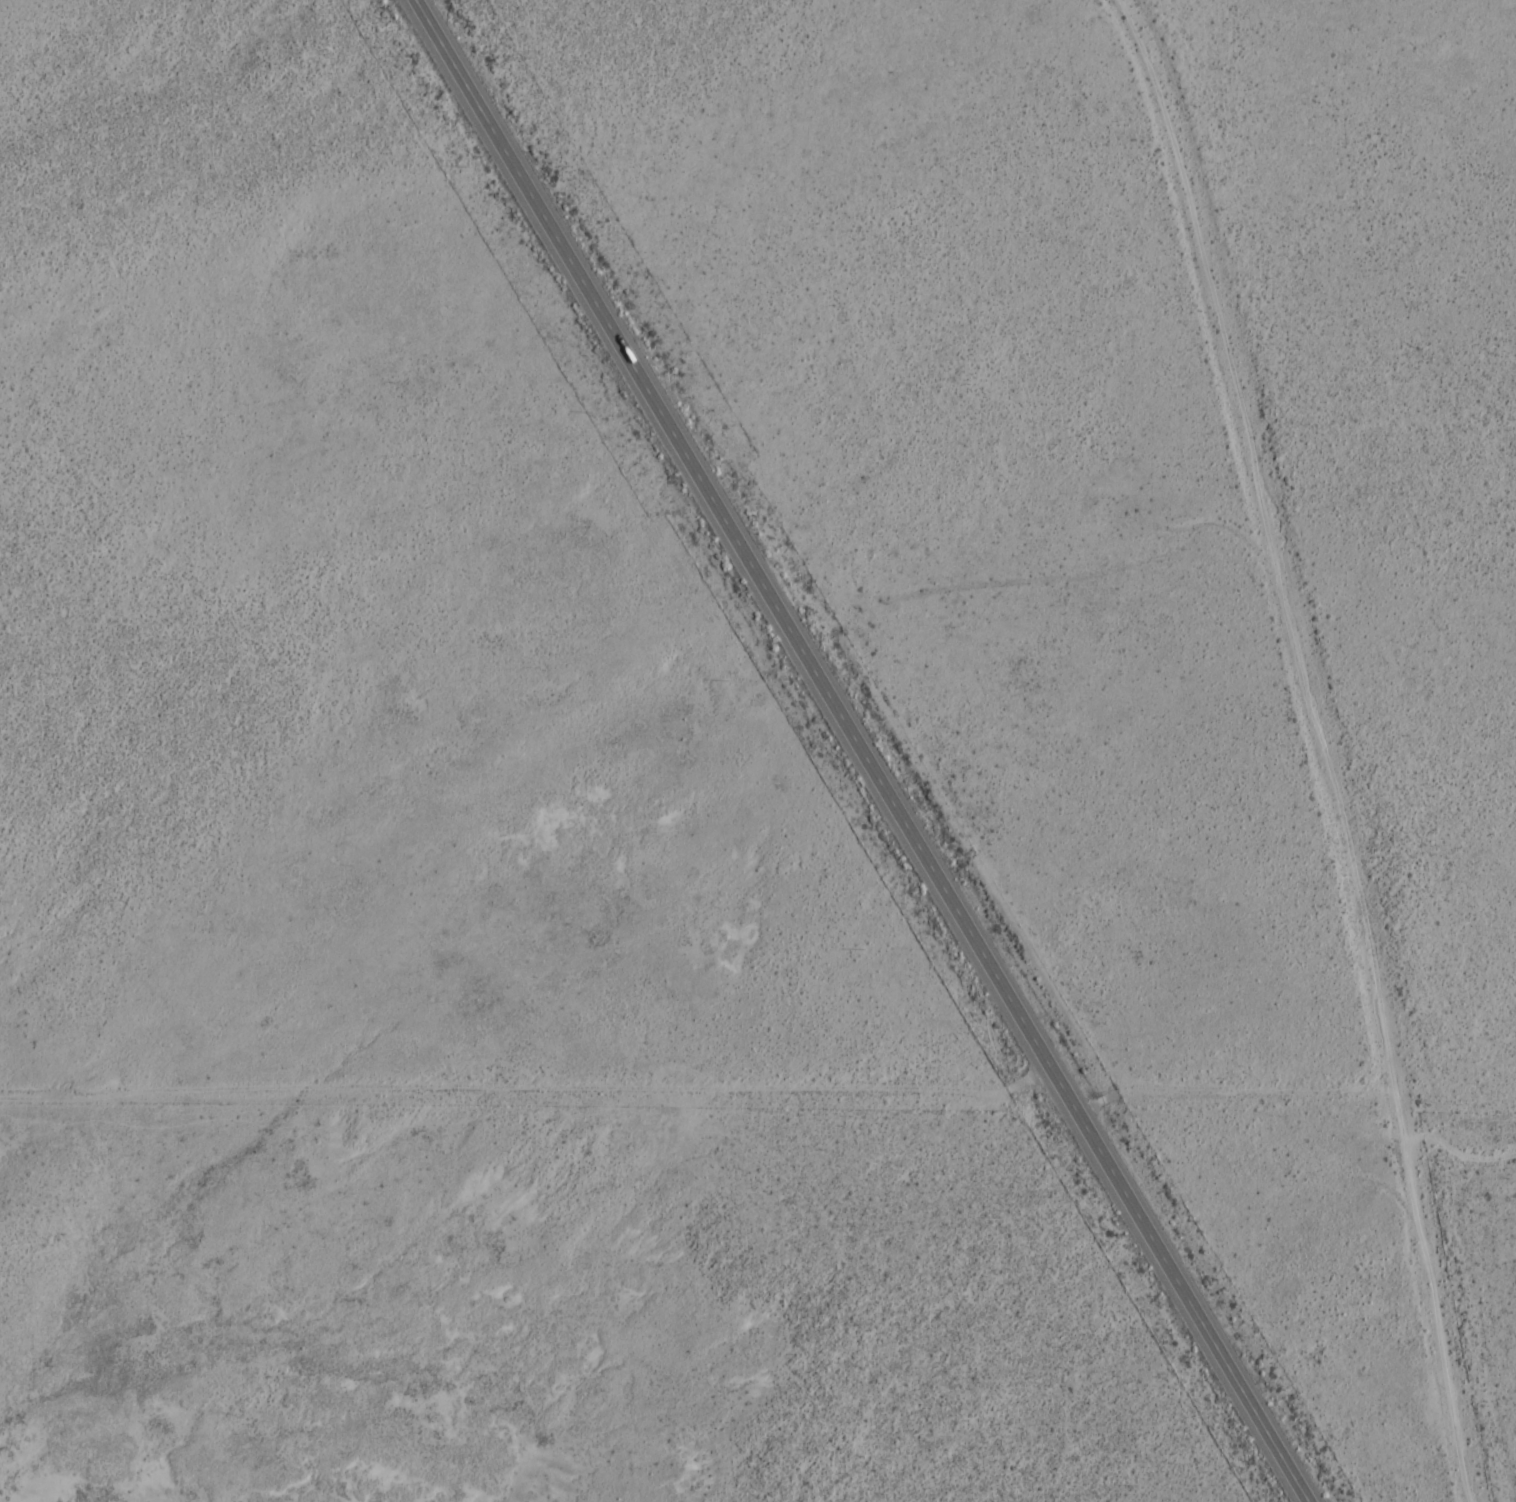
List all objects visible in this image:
road: (1317, 750)
road: (860, 753)
road: (758, 1082)

